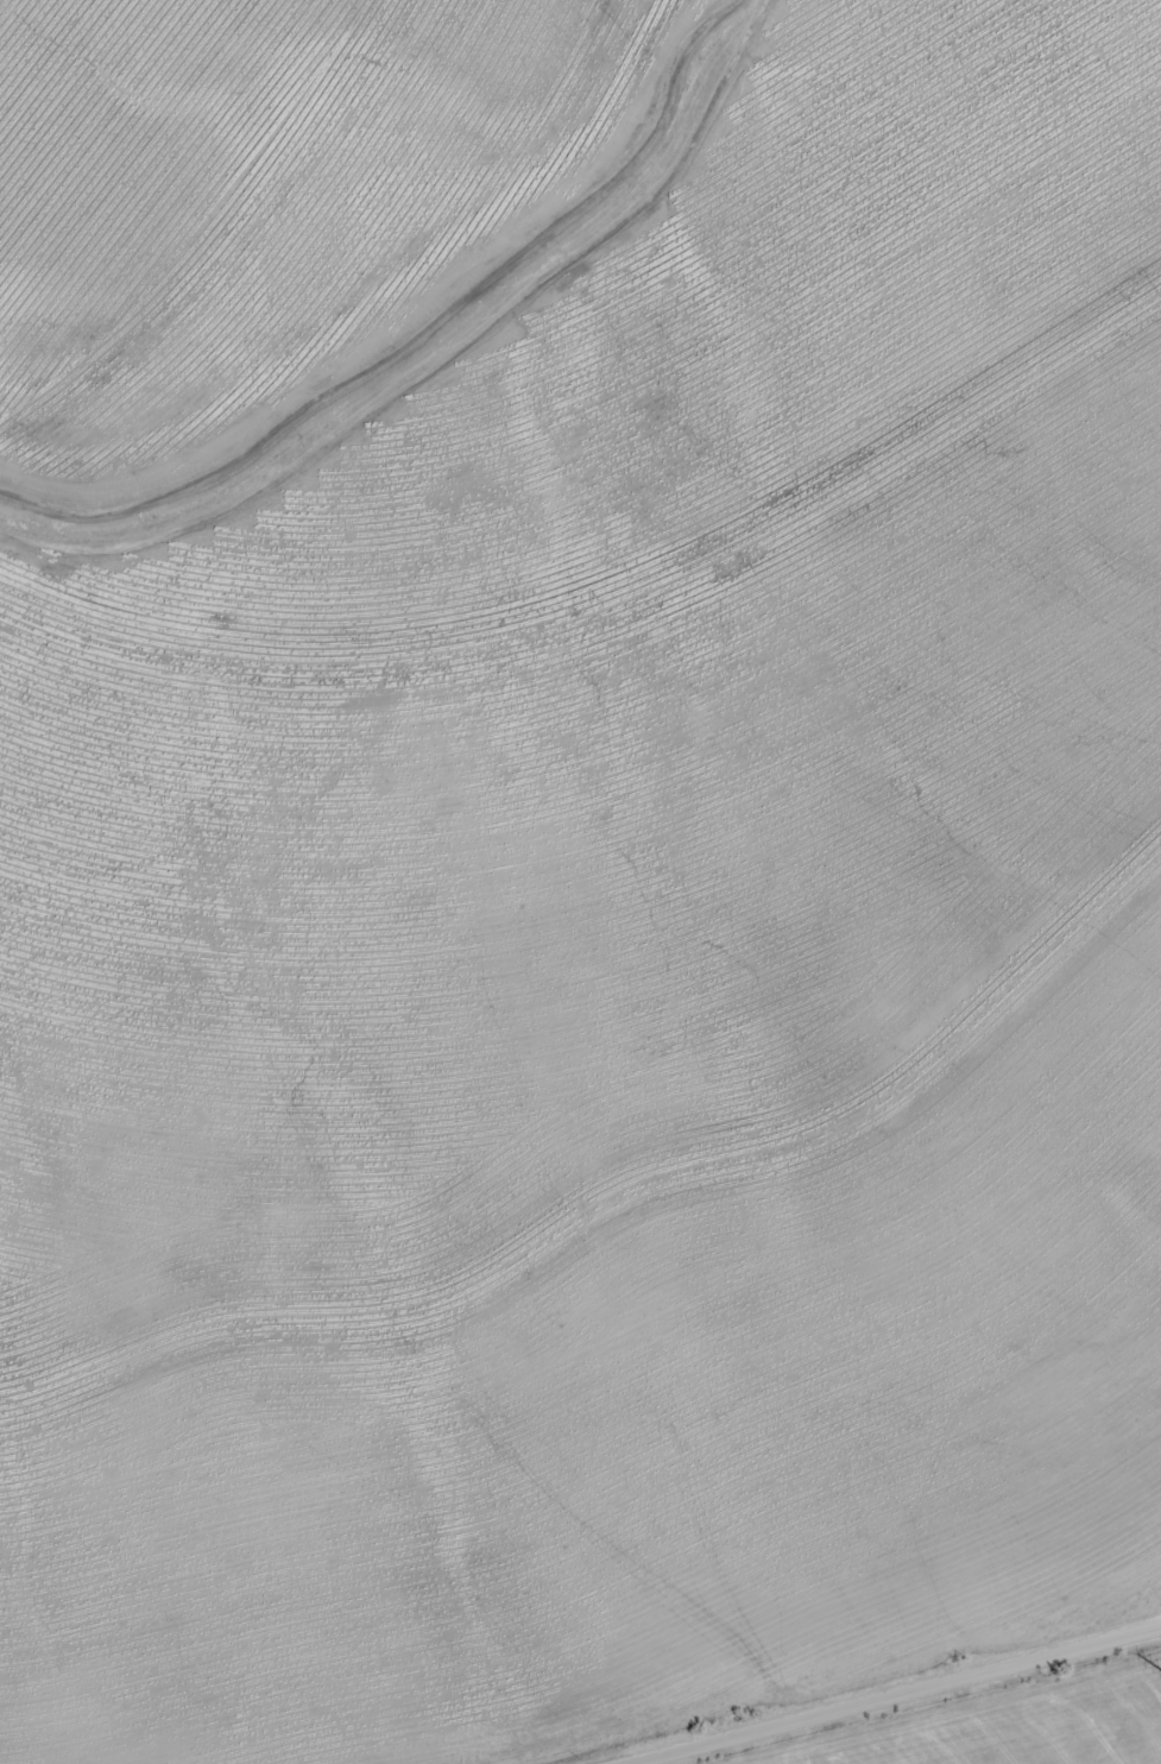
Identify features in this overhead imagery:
road: (935, 1707)

